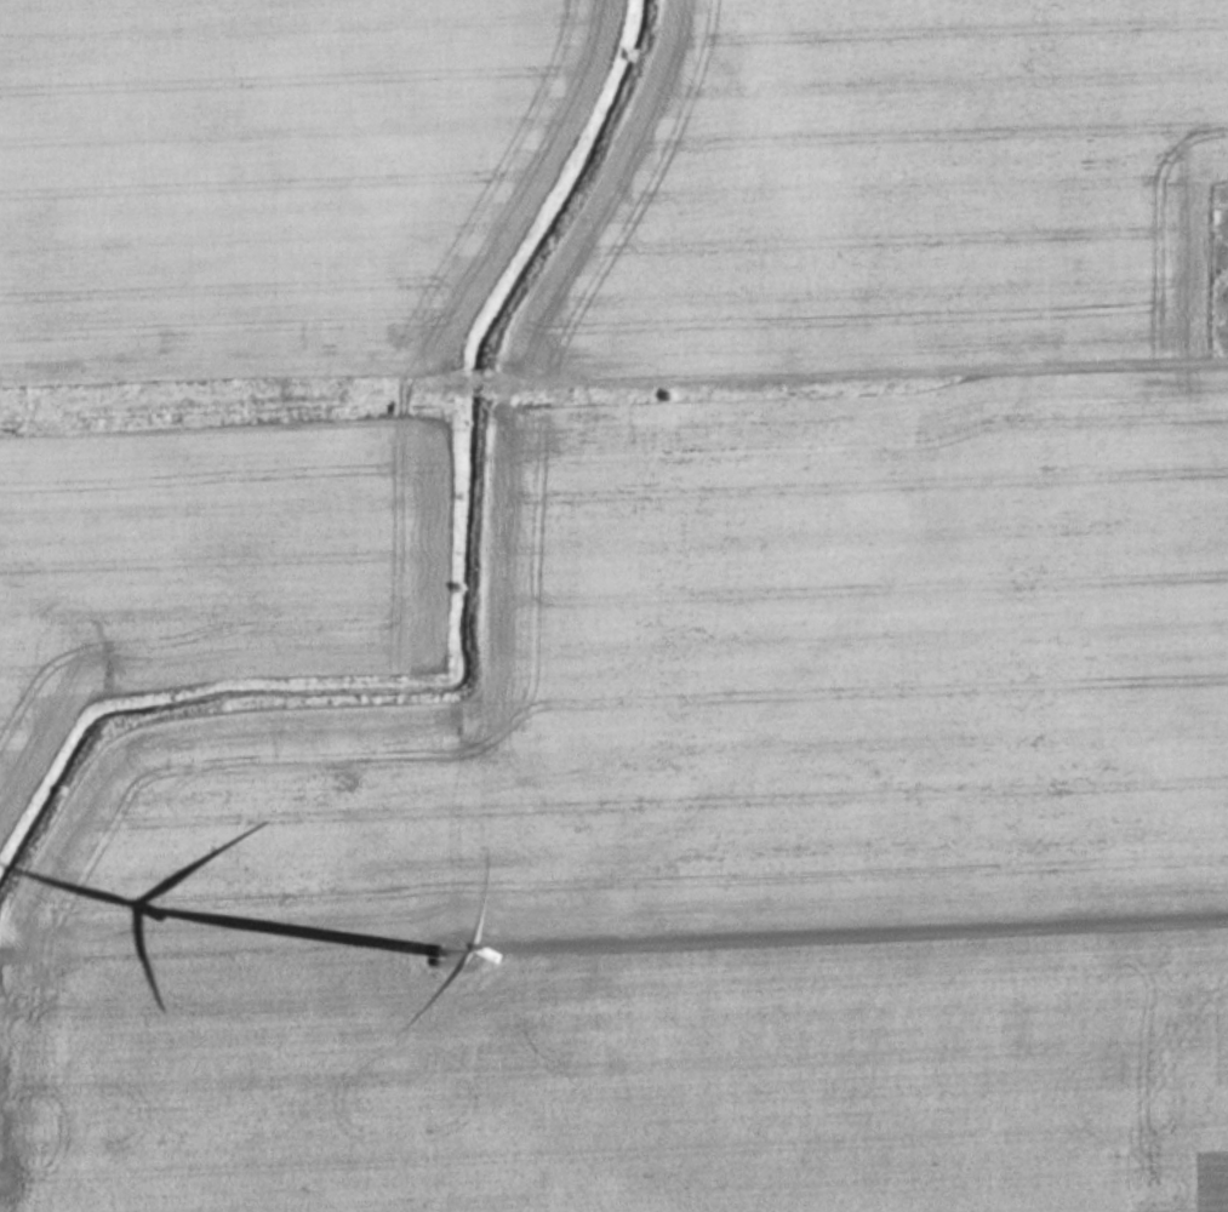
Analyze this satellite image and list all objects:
wind turbine: (469, 955)

